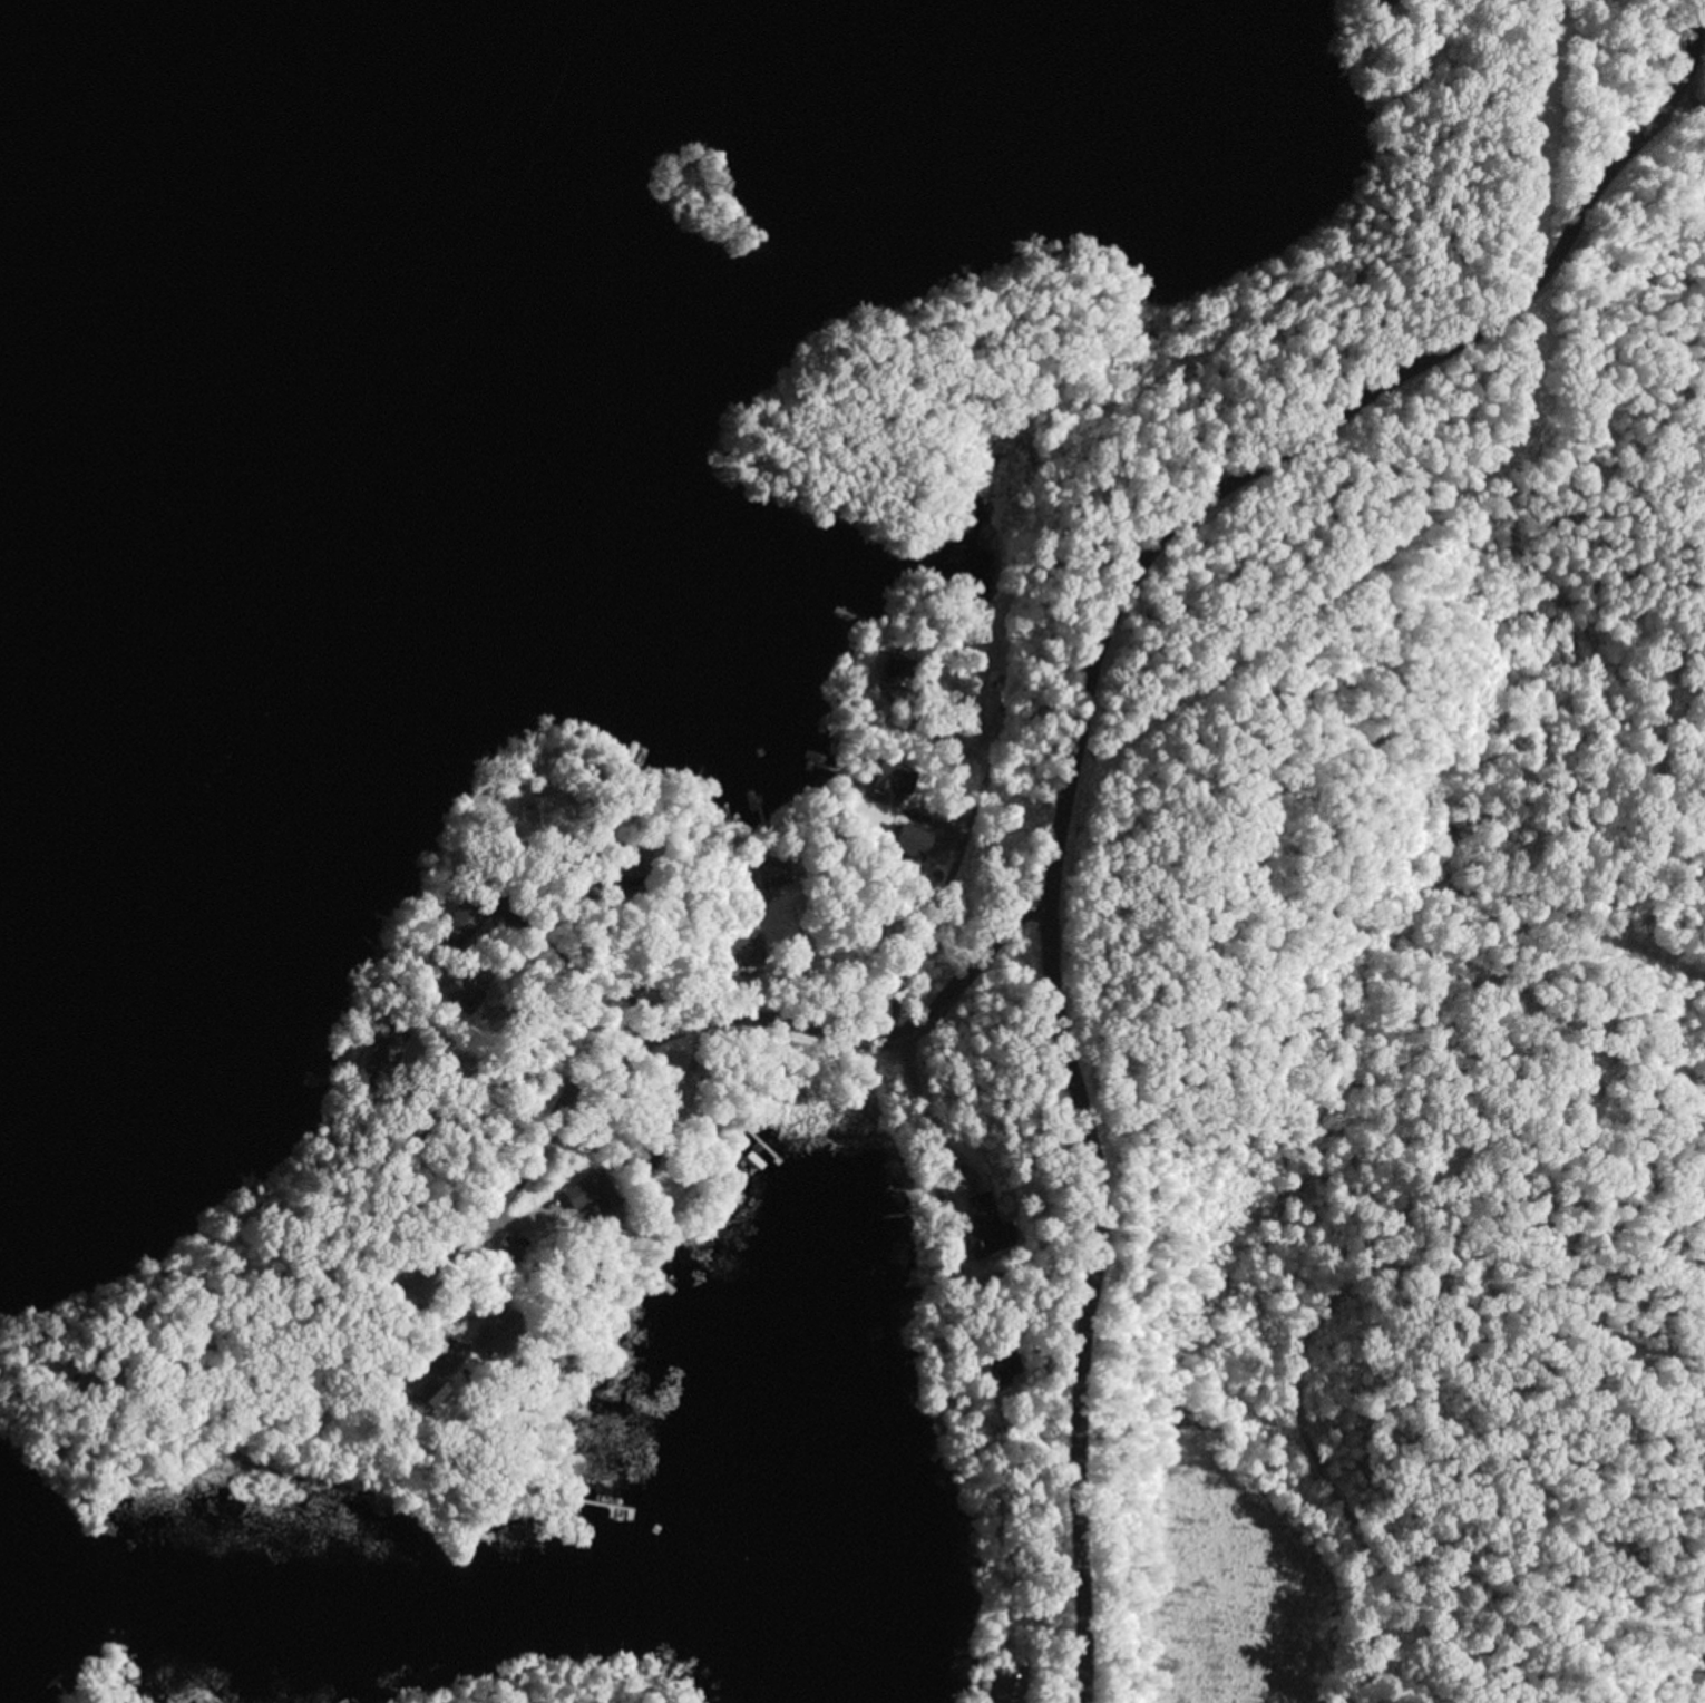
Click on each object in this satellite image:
building: (1384, 2)
road: (1694, 104)
building: (892, 670)
building: (1010, 701)
building: (949, 720)
road: (1090, 729)
building: (880, 773)
building: (556, 800)
building: (908, 836)
building: (631, 857)
road: (945, 868)
building: (771, 869)
building: (576, 885)
building: (536, 892)
building: (460, 918)
building: (738, 944)
building: (382, 958)
building: (460, 985)
building: (390, 1012)
road: (747, 1048)
building: (381, 1053)
road: (603, 1059)
building: (670, 1060)
building: (669, 1101)
building: (432, 1128)
building: (647, 1159)
building: (590, 1190)
building: (937, 1195)
road: (1456, 1210)
building: (984, 1223)
building: (505, 1247)
building: (993, 1279)
building: (496, 1329)
building: (1004, 1361)
building: (425, 1382)
building: (80, 1384)
building: (982, 1653)
building: (1007, 1675)

